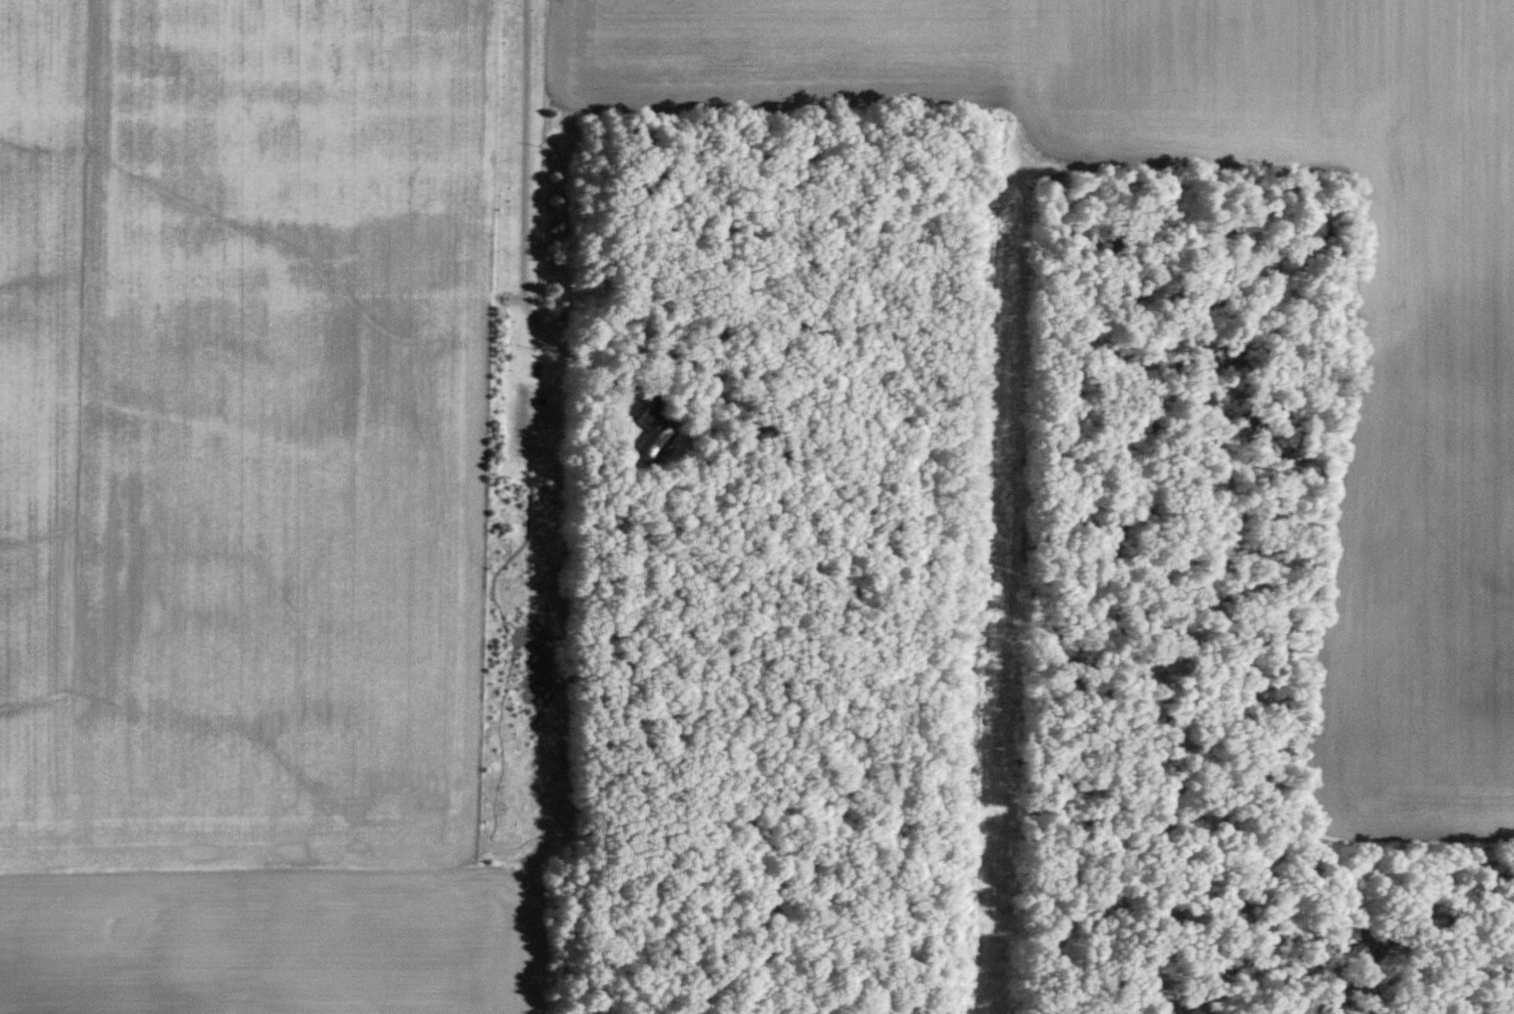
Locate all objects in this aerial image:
road: (524, 224)
building: (654, 437)

